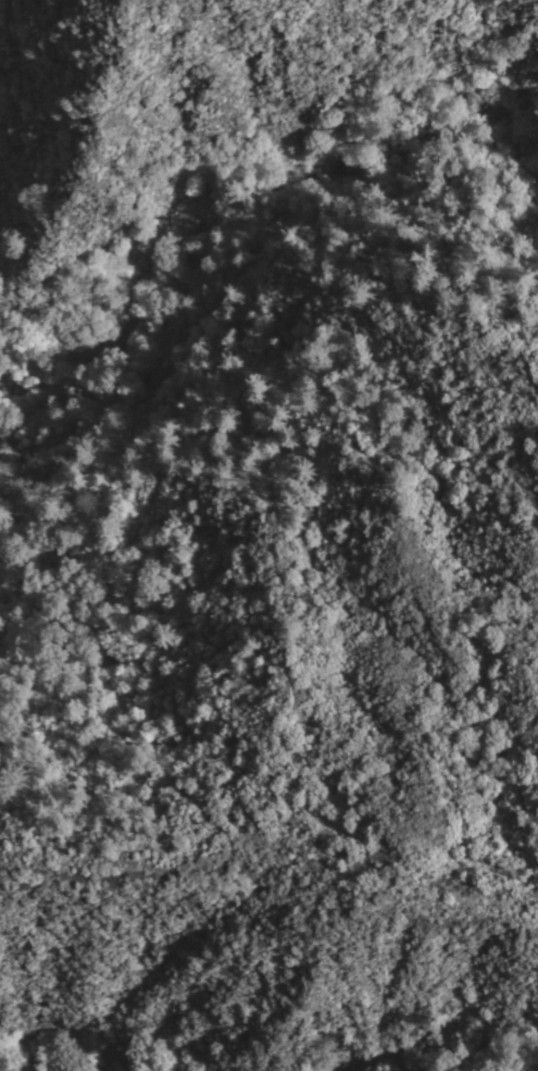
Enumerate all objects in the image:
road: (204, 247)
road: (103, 538)
road: (281, 744)

